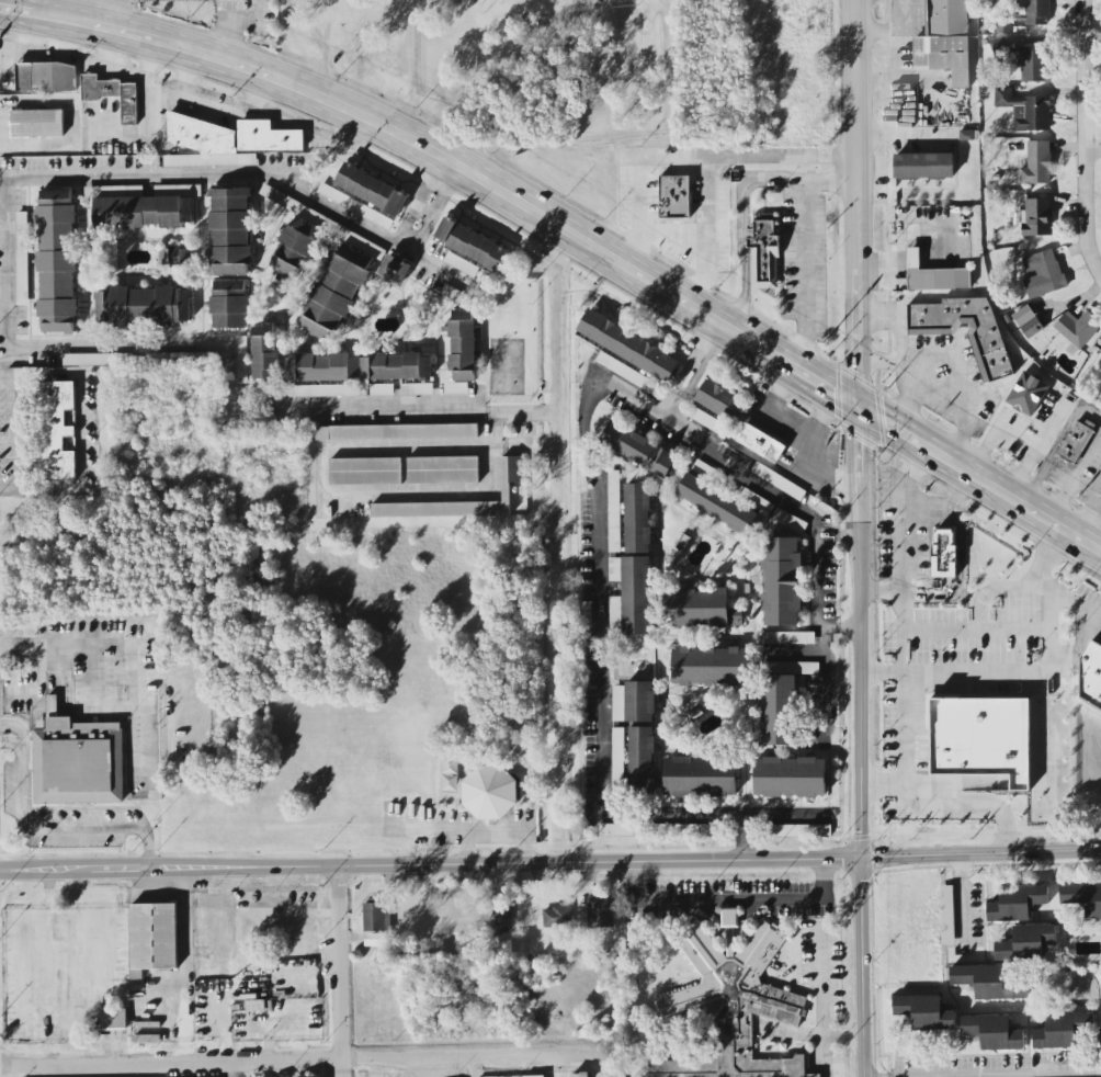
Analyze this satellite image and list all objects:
building: (1034, 11)
road: (121, 16)
road: (231, 22)
building: (945, 41)
building: (1033, 64)
building: (47, 78)
road: (856, 78)
building: (113, 95)
building: (1025, 110)
building: (36, 124)
road: (1085, 135)
building: (266, 138)
road: (1092, 147)
road: (691, 156)
building: (208, 161)
building: (1036, 165)
building: (921, 167)
road: (858, 168)
road: (226, 175)
building: (372, 190)
road: (432, 195)
building: (673, 199)
building: (293, 205)
building: (144, 206)
building: (353, 207)
building: (1037, 217)
road: (742, 228)
building: (230, 231)
road: (677, 234)
road: (710, 234)
road: (570, 238)
building: (470, 243)
building: (295, 249)
road: (859, 249)
building: (764, 253)
road: (807, 253)
building: (174, 257)
building: (22, 258)
building: (57, 260)
building: (461, 264)
building: (395, 269)
road: (1099, 272)
building: (1043, 274)
building: (932, 276)
building: (340, 285)
building: (230, 304)
building: (144, 306)
building: (1022, 316)
building: (1077, 328)
building: (966, 331)
road: (34, 345)
building: (463, 345)
building: (628, 345)
building: (265, 351)
building: (184, 358)
road: (909, 359)
building: (98, 360)
building: (241, 360)
road: (699, 360)
building: (364, 367)
building: (628, 373)
building: (456, 388)
building: (382, 389)
building: (421, 389)
building: (325, 390)
building: (1025, 395)
building: (719, 399)
road: (966, 409)
traffic signals: (861, 411)
road: (507, 412)
building: (706, 421)
road: (790, 427)
road: (79, 430)
building: (55, 431)
building: (396, 432)
building: (1077, 441)
building: (759, 443)
road: (1055, 445)
road: (463, 447)
building: (638, 449)
building: (443, 471)
building: (365, 472)
building: (708, 473)
road: (827, 473)
road: (1072, 477)
building: (779, 481)
building: (507, 492)
road: (1094, 499)
building: (756, 501)
road: (791, 501)
road: (1082, 503)
building: (719, 506)
road: (941, 509)
building: (613, 512)
building: (638, 518)
building: (790, 521)
building: (944, 553)
road: (899, 558)
building: (613, 570)
building: (782, 581)
road: (881, 593)
building: (637, 596)
road: (1047, 601)
road: (1074, 603)
building: (701, 609)
building: (584, 613)
building: (615, 614)
road: (979, 620)
road: (850, 625)
building: (788, 637)
road: (141, 645)
road: (0, 648)
road: (599, 648)
road: (793, 653)
building: (711, 667)
building: (794, 668)
road: (955, 673)
building: (1092, 674)
road: (827, 678)
road: (863, 696)
building: (618, 703)
building: (777, 710)
road: (13, 726)
building: (640, 735)
building: (980, 737)
road: (11, 741)
building: (618, 757)
building: (78, 760)
building: (701, 776)
building: (791, 776)
road: (884, 789)
building: (490, 793)
road: (913, 798)
road: (745, 824)
road: (64, 829)
building: (622, 829)
building: (799, 830)
road: (492, 836)
road: (745, 846)
road: (549, 861)
building: (1083, 898)
road: (731, 902)
road: (960, 903)
building: (1017, 903)
building: (600, 912)
building: (945, 916)
building: (375, 917)
building: (557, 917)
building: (730, 918)
building: (500, 920)
building: (154, 937)
building: (1026, 942)
road: (342, 971)
building: (987, 982)
road: (822, 1006)
building: (733, 1007)
building: (926, 1012)
building: (109, 1023)
building: (1062, 1031)
building: (994, 1032)
road: (825, 1059)
road: (299, 1061)
road: (555, 1066)
road: (234, 1069)
building: (579, 1075)
road: (1056, 1075)
building: (534, 1076)

